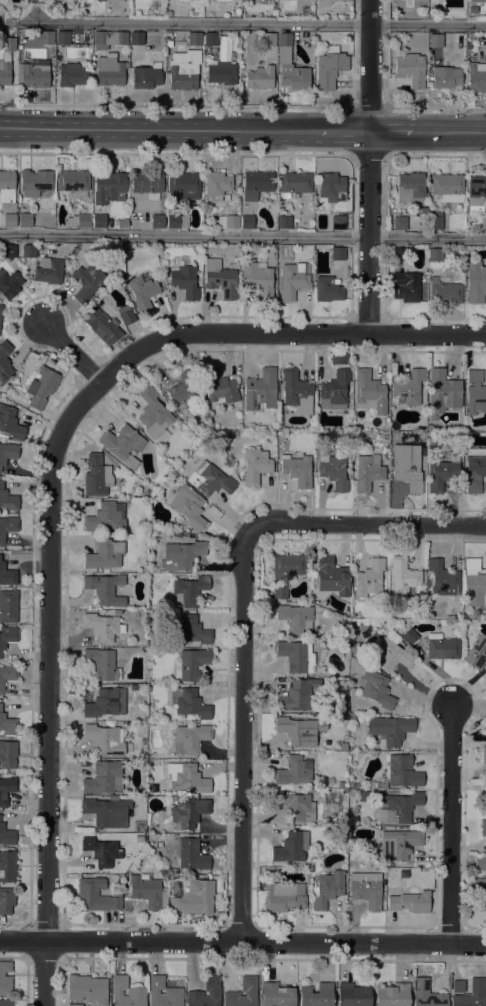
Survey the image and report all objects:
building: (100, 0)
building: (144, 0)
building: (183, 0)
building: (222, 0)
building: (332, 0)
building: (476, 2)
road: (259, 24)
building: (40, 37)
building: (62, 38)
building: (136, 38)
building: (109, 39)
building: (194, 39)
building: (210, 39)
building: (268, 39)
building: (435, 40)
building: (168, 43)
building: (468, 46)
building: (5, 59)
building: (290, 65)
building: (330, 67)
building: (183, 69)
building: (411, 69)
building: (109, 71)
building: (221, 73)
building: (71, 75)
building: (146, 76)
building: (33, 77)
building: (445, 77)
building: (477, 77)
building: (259, 78)
road: (176, 106)
road: (435, 107)
road: (369, 108)
road: (158, 129)
road: (342, 132)
road: (391, 132)
road: (450, 132)
road: (176, 152)
road: (368, 154)
road: (435, 155)
road: (369, 166)
building: (35, 182)
building: (73, 183)
building: (147, 183)
building: (294, 183)
building: (256, 184)
building: (217, 185)
building: (183, 186)
building: (109, 187)
building: (331, 187)
building: (448, 187)
building: (409, 188)
building: (7, 189)
building: (476, 193)
building: (175, 217)
building: (9, 220)
building: (24, 220)
building: (78, 221)
building: (99, 221)
building: (157, 221)
building: (228, 221)
building: (435, 221)
building: (247, 222)
building: (284, 222)
building: (338, 223)
building: (399, 223)
building: (122, 224)
road: (242, 237)
building: (8, 251)
building: (28, 251)
building: (338, 254)
building: (399, 254)
building: (435, 255)
building: (49, 271)
building: (220, 279)
building: (258, 279)
building: (294, 280)
building: (184, 281)
building: (87, 282)
building: (475, 282)
building: (9, 285)
building: (406, 288)
building: (327, 289)
building: (444, 291)
building: (142, 293)
building: (1, 310)
building: (126, 315)
building: (102, 326)
road: (227, 334)
road: (427, 334)
building: (4, 361)
building: (474, 376)
building: (41, 387)
building: (219, 387)
building: (408, 387)
building: (183, 388)
building: (260, 390)
building: (297, 391)
building: (334, 391)
building: (369, 392)
building: (442, 393)
building: (476, 399)
building: (153, 414)
building: (10, 423)
building: (357, 435)
building: (123, 445)
building: (7, 452)
building: (348, 453)
building: (396, 456)
building: (256, 466)
building: (423, 469)
building: (296, 470)
building: (408, 470)
building: (333, 472)
building: (367, 472)
building: (442, 473)
building: (475, 473)
building: (97, 476)
building: (210, 479)
building: (7, 499)
building: (188, 506)
building: (106, 517)
building: (7, 527)
road: (365, 528)
building: (177, 534)
building: (104, 554)
building: (181, 555)
building: (287, 566)
building: (7, 575)
building: (403, 576)
building: (332, 577)
building: (369, 579)
building: (443, 579)
building: (474, 584)
building: (105, 589)
building: (189, 590)
building: (279, 592)
building: (8, 606)
building: (136, 614)
building: (465, 616)
building: (295, 618)
building: (102, 626)
building: (191, 630)
building: (7, 637)
building: (409, 637)
road: (50, 645)
building: (441, 647)
building: (477, 653)
building: (296, 656)
building: (391, 656)
building: (102, 664)
building: (191, 664)
building: (7, 675)
building: (134, 687)
building: (375, 689)
building: (300, 696)
building: (189, 703)
building: (103, 704)
building: (358, 717)
building: (7, 724)
building: (389, 730)
building: (297, 731)
road: (244, 735)
building: (189, 739)
building: (104, 740)
building: (8, 754)
building: (484, 754)
building: (294, 771)
building: (403, 772)
building: (186, 777)
building: (104, 778)
building: (380, 785)
building: (6, 790)
building: (113, 798)
building: (295, 805)
building: (399, 807)
building: (483, 807)
building: (107, 812)
building: (189, 812)
road: (453, 824)
building: (483, 828)
building: (6, 835)
building: (398, 844)
building: (290, 848)
building: (100, 850)
building: (192, 854)
building: (480, 863)
building: (7, 866)
building: (327, 889)
building: (366, 889)
building: (148, 892)
building: (479, 892)
building: (95, 896)
building: (283, 897)
building: (194, 898)
building: (6, 901)
building: (409, 902)
road: (243, 941)
building: (5, 978)
building: (458, 986)
building: (86, 991)
building: (213, 991)
building: (250, 991)
building: (136, 993)
building: (163, 993)
building: (426, 994)
building: (472, 994)
building: (275, 995)
building: (315, 995)
building: (353, 995)
building: (392, 995)
building: (5, 1003)

